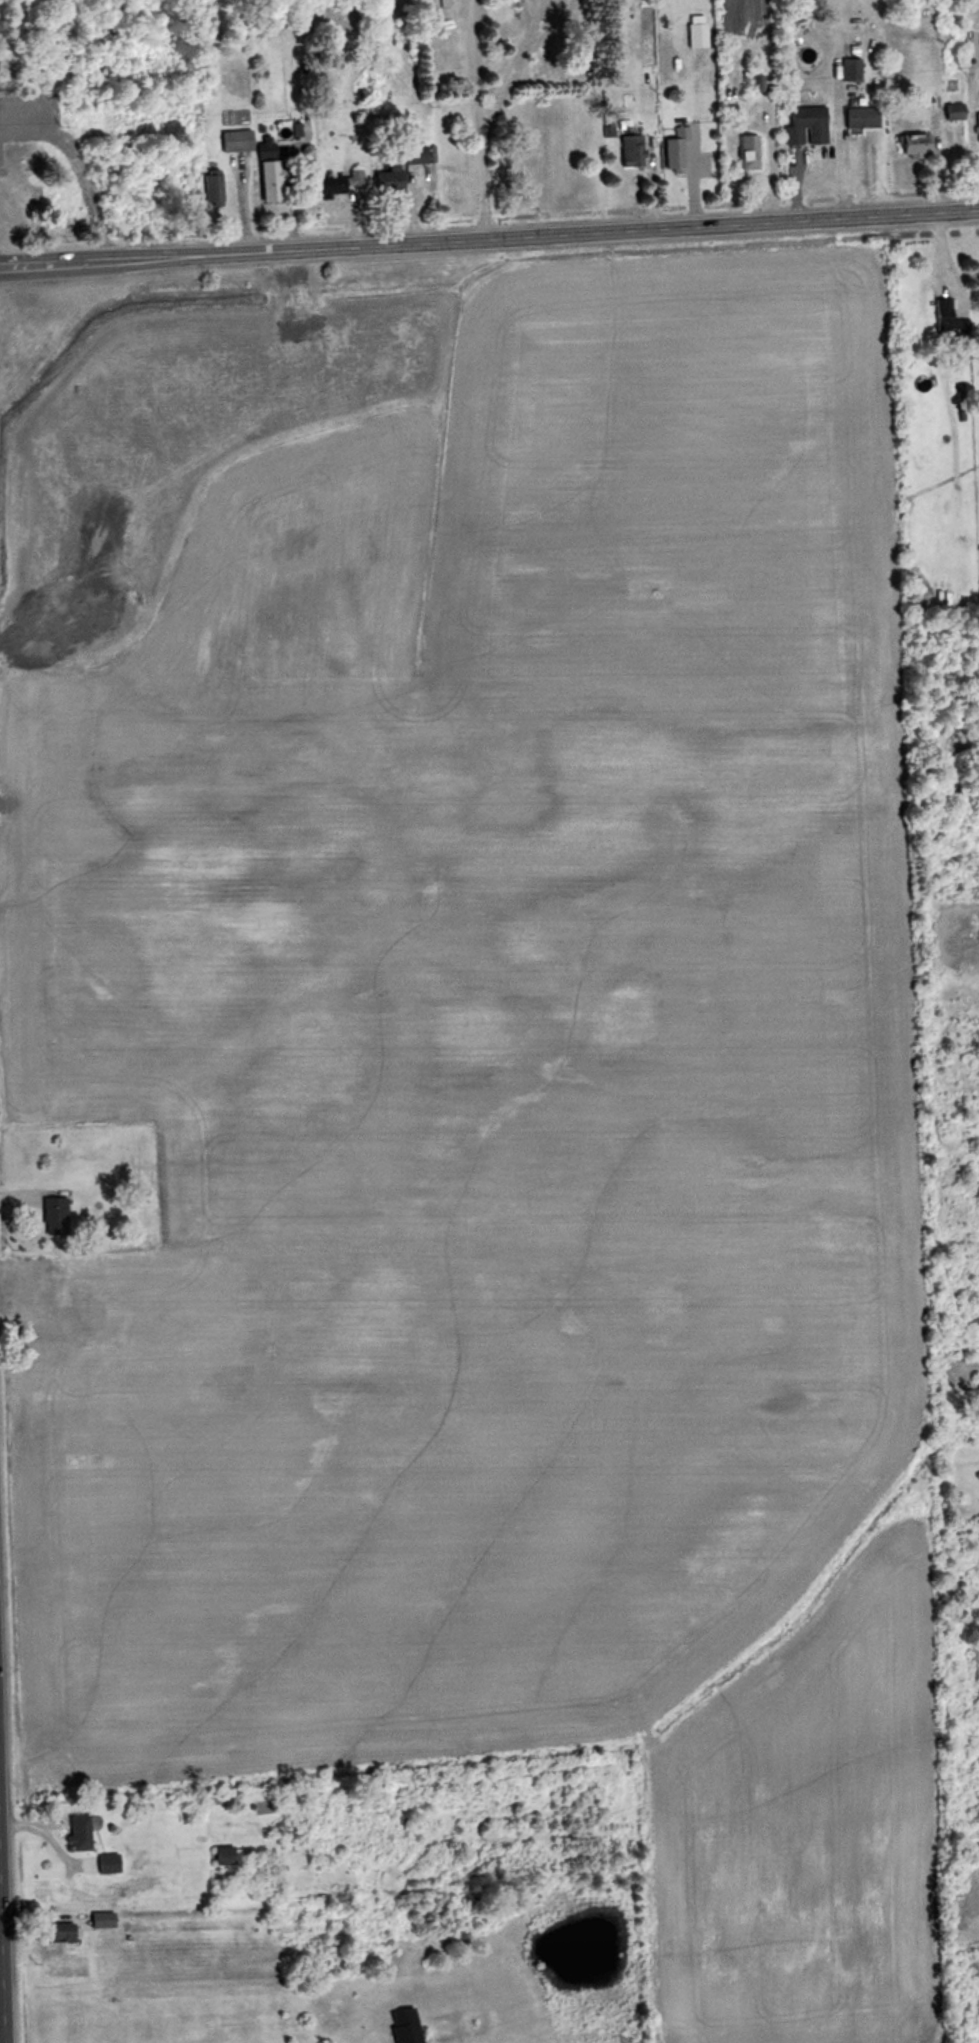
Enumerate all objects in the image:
building: (692, 35)
building: (847, 69)
road: (474, 70)
road: (516, 71)
building: (857, 117)
building: (801, 125)
building: (976, 125)
road: (968, 138)
building: (243, 139)
building: (905, 145)
building: (627, 150)
building: (673, 150)
building: (743, 152)
road: (838, 152)
building: (422, 155)
road: (768, 166)
road: (77, 167)
building: (396, 178)
building: (273, 180)
building: (347, 182)
building: (215, 188)
road: (483, 190)
building: (24, 211)
road: (489, 239)
building: (944, 316)
building: (53, 1211)
building: (74, 1833)
building: (219, 1855)
building: (102, 1864)
building: (108, 1919)
building: (69, 1932)
building: (410, 2026)

